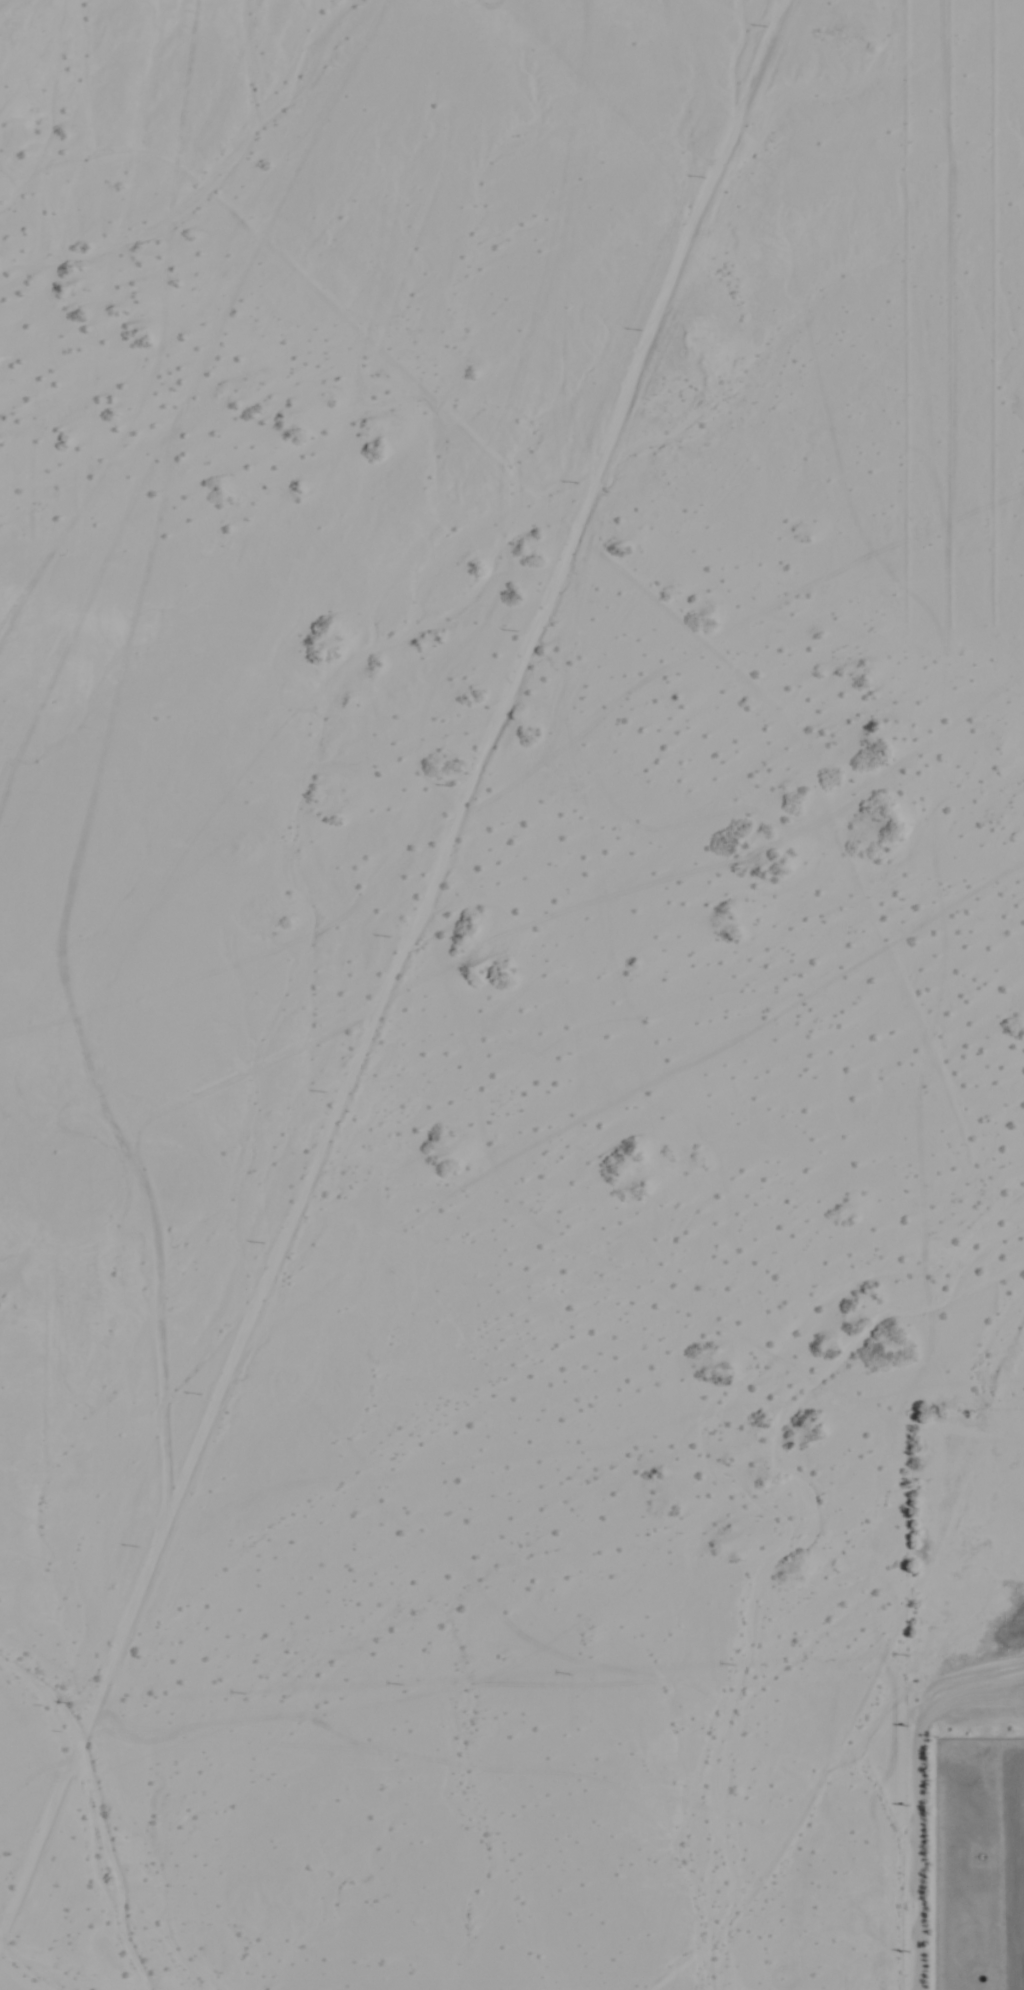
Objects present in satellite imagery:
crop: (968, 1830)

